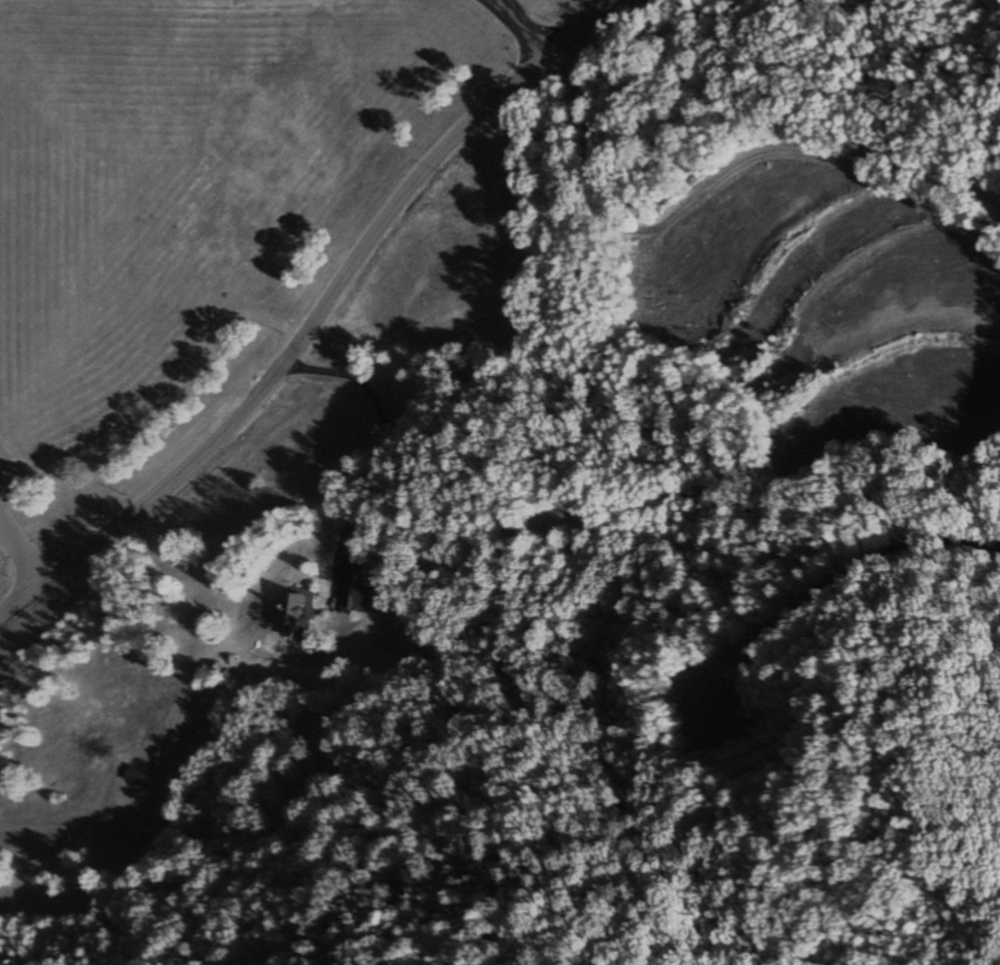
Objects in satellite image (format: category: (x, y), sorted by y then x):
road: (522, 26)
road: (314, 311)
road: (381, 450)
road: (21, 552)
building: (359, 598)
building: (292, 615)
building: (136, 775)

